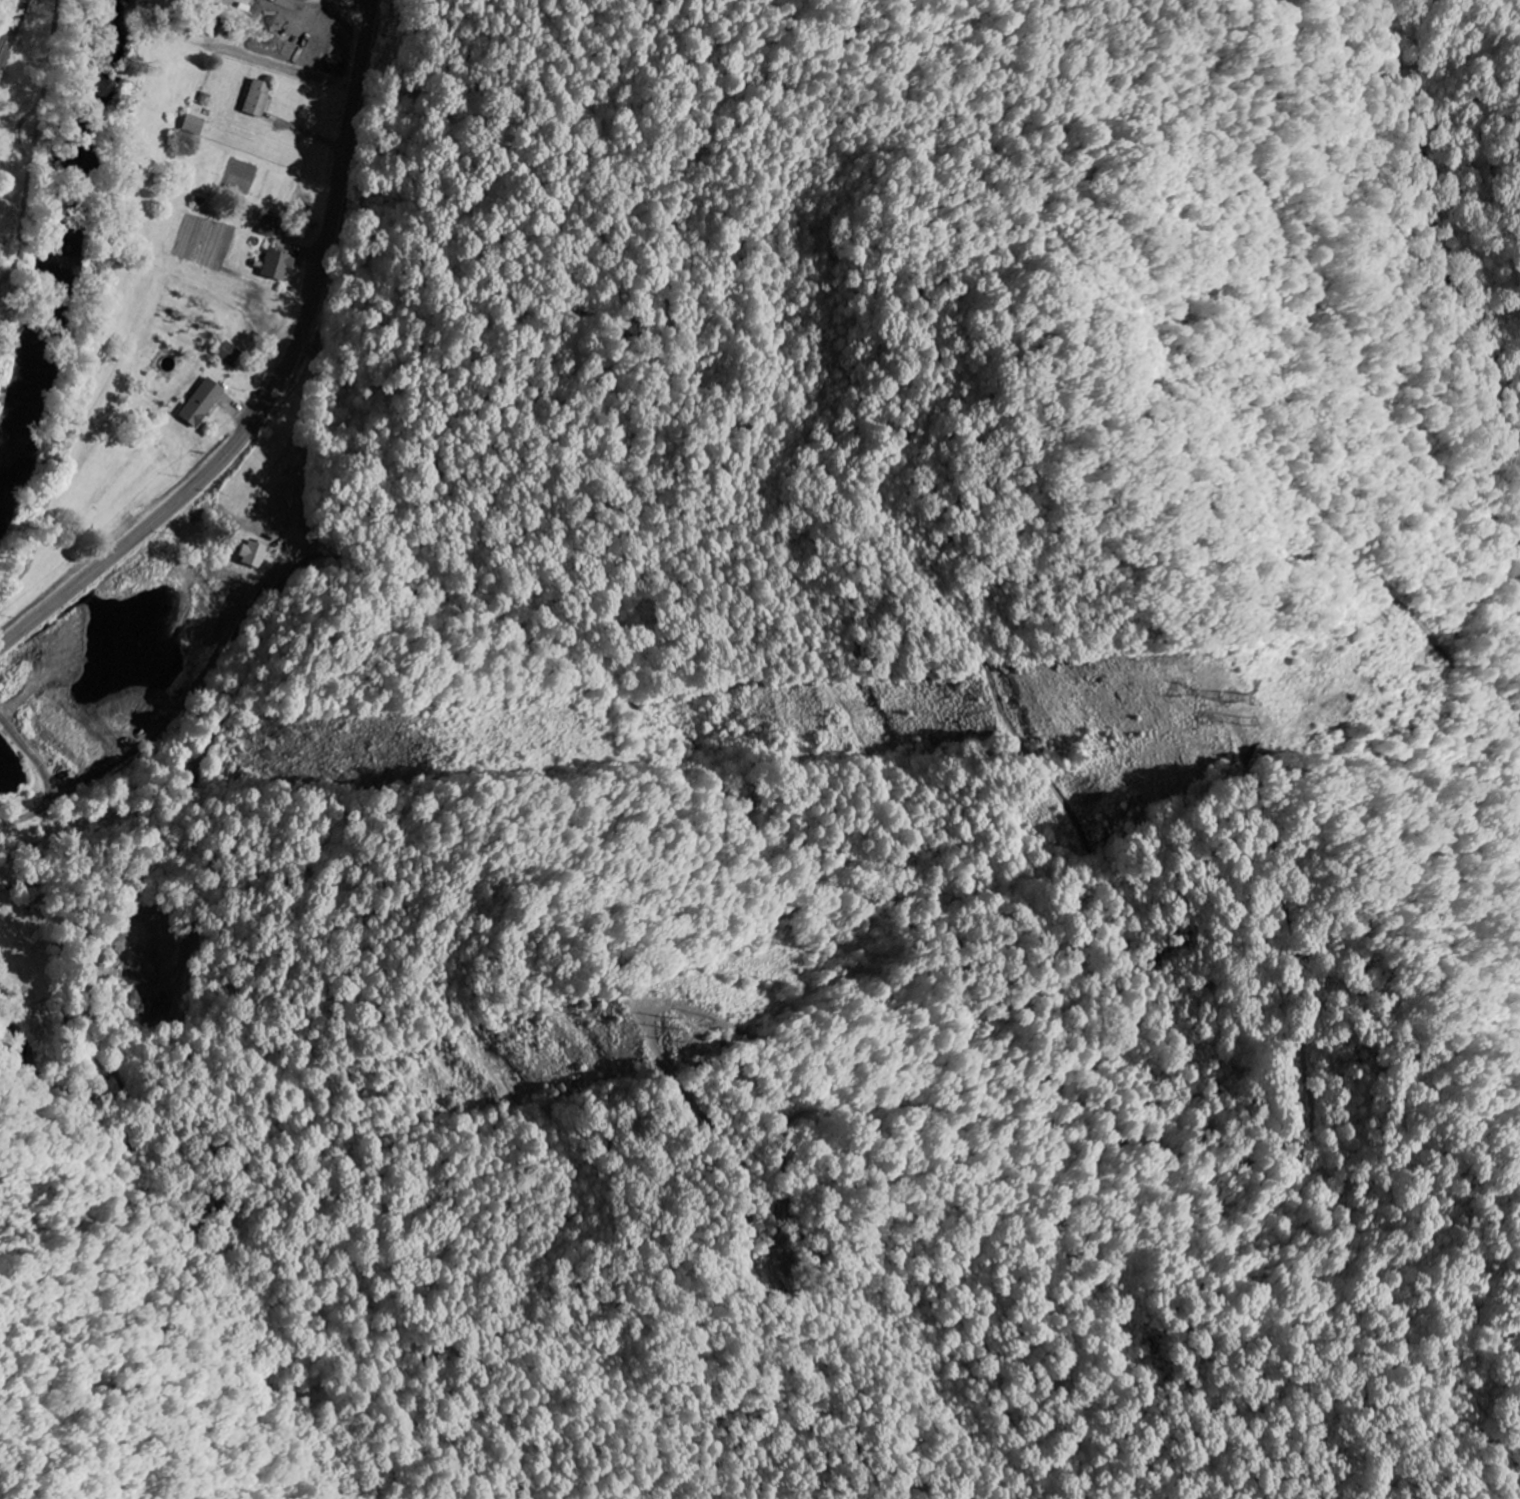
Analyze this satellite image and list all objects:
railway: (8, 19)
building: (259, 98)
building: (195, 124)
road: (40, 139)
river: (57, 239)
building: (280, 265)
road: (285, 380)
building: (203, 402)
building: (254, 552)

